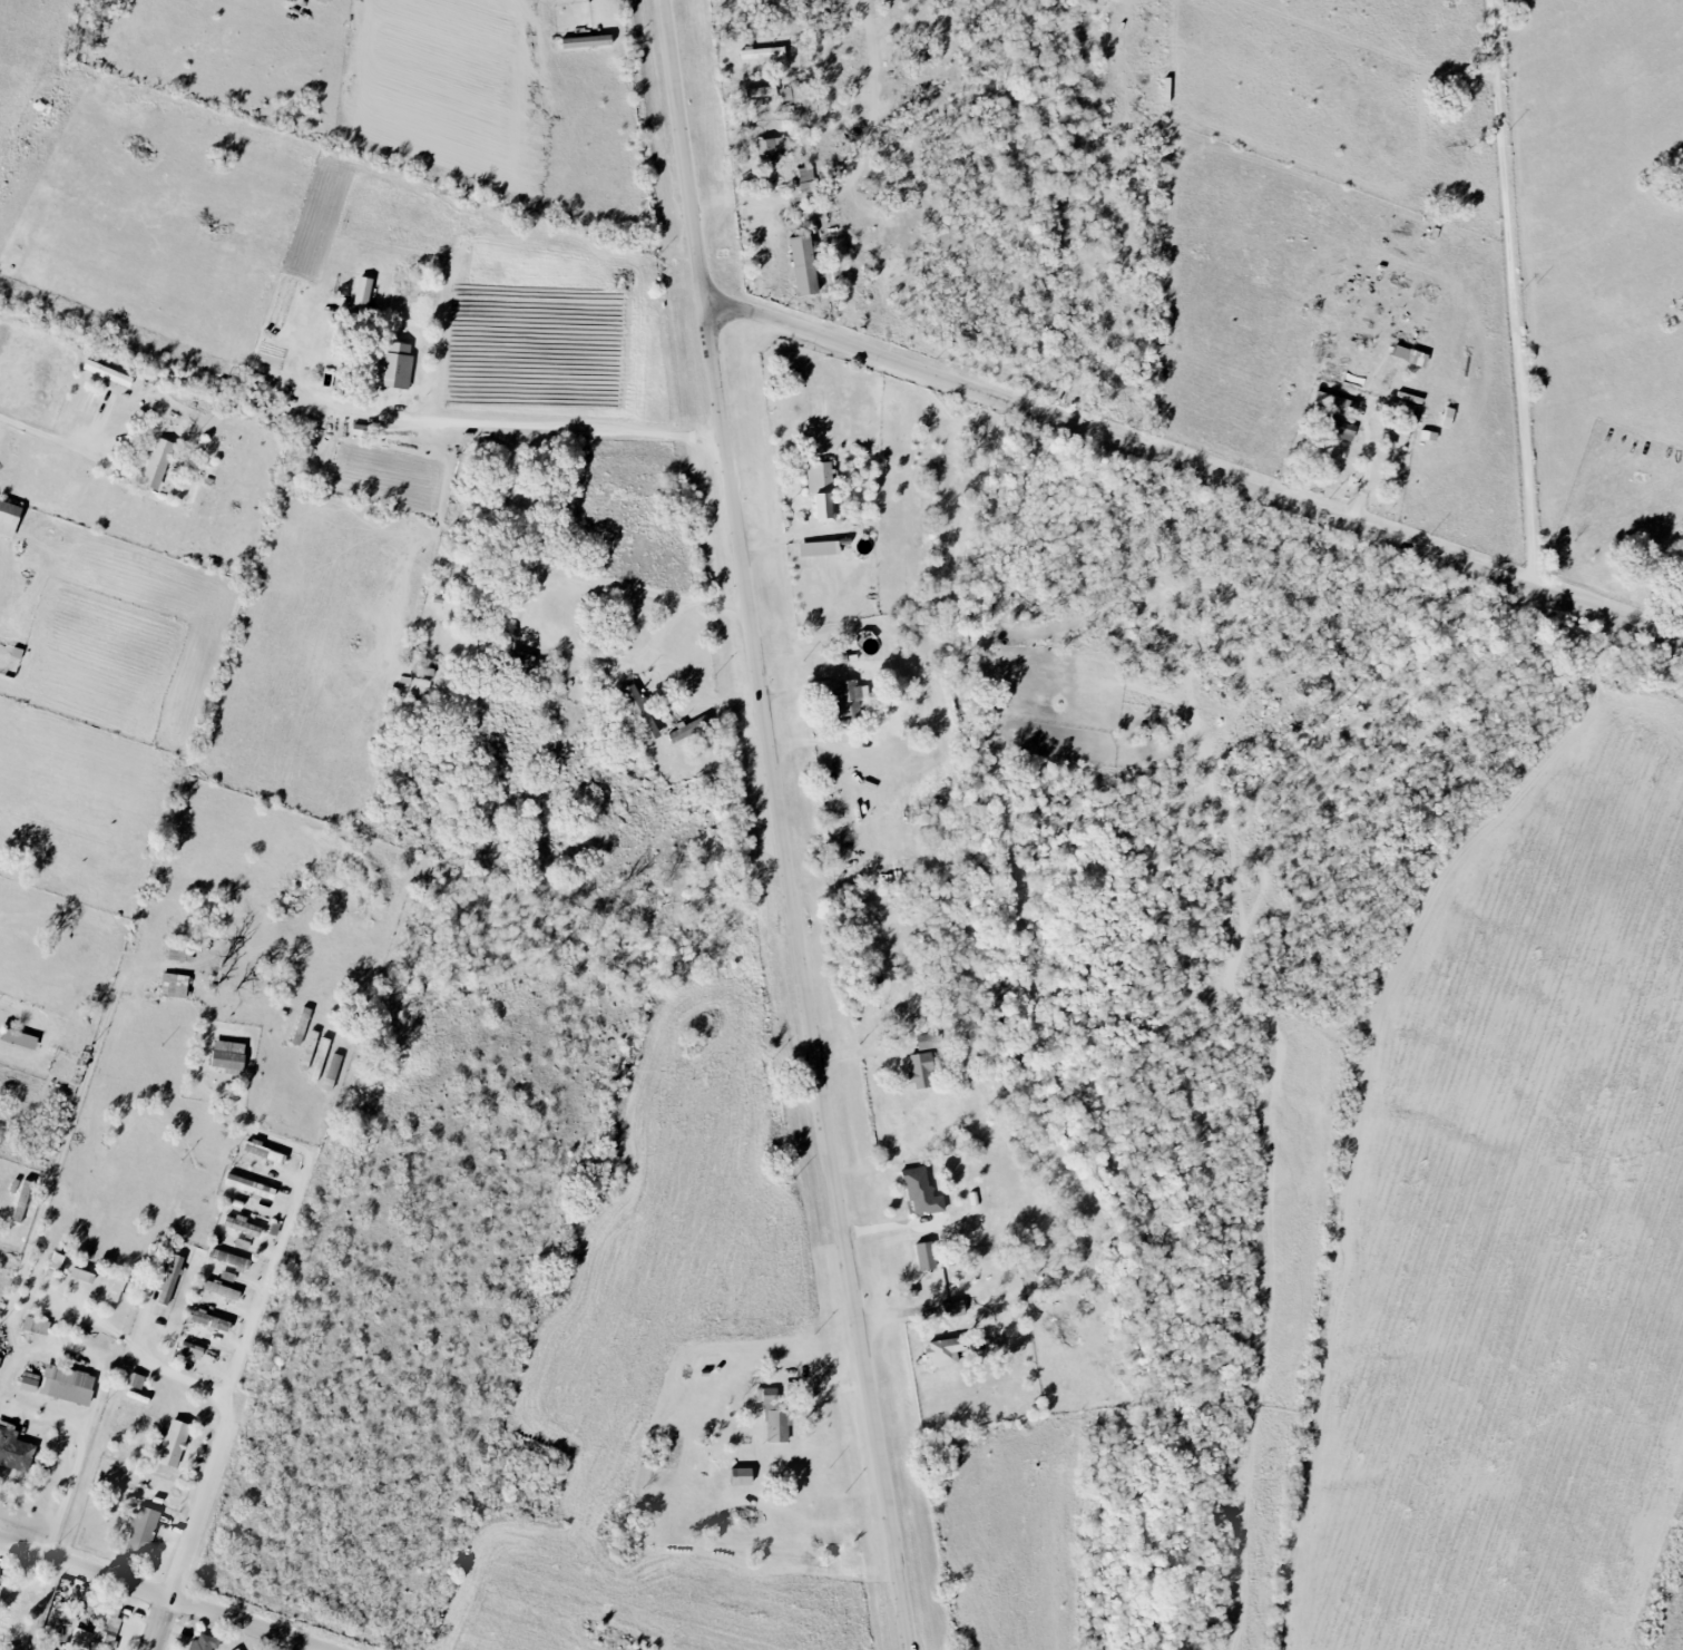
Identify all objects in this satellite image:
building: (295, 0)
building: (322, 1)
road: (359, 9)
building: (586, 41)
building: (762, 52)
building: (761, 92)
building: (785, 95)
building: (771, 148)
building: (805, 179)
building: (803, 265)
building: (362, 294)
road: (1513, 295)
road: (754, 319)
building: (1409, 355)
building: (394, 367)
building: (107, 373)
building: (1331, 414)
road: (471, 416)
building: (1448, 418)
building: (356, 430)
road: (50, 433)
building: (157, 463)
road: (1368, 475)
road: (1244, 485)
building: (821, 490)
building: (8, 519)
building: (819, 549)
road: (536, 606)
building: (521, 661)
building: (848, 700)
building: (639, 713)
road: (774, 827)
building: (870, 982)
building: (174, 986)
building: (18, 1038)
building: (928, 1042)
road: (860, 1052)
building: (227, 1056)
building: (921, 1071)
building: (264, 1151)
building: (249, 1185)
building: (922, 1193)
building: (242, 1226)
road: (282, 1238)
building: (926, 1254)
building: (229, 1259)
building: (53, 1262)
building: (81, 1275)
building: (170, 1279)
building: (116, 1289)
building: (221, 1289)
building: (952, 1308)
building: (209, 1320)
building: (36, 1325)
road: (65, 1345)
building: (192, 1347)
building: (942, 1351)
building: (135, 1379)
building: (29, 1381)
building: (66, 1384)
building: (791, 1389)
building: (773, 1415)
building: (173, 1443)
building: (14, 1448)
building: (742, 1476)
road: (61, 1503)
building: (141, 1530)
building: (0, 1574)
road: (155, 1597)
road: (163, 1627)
building: (203, 1642)
road: (277, 1644)
building: (237, 1649)

